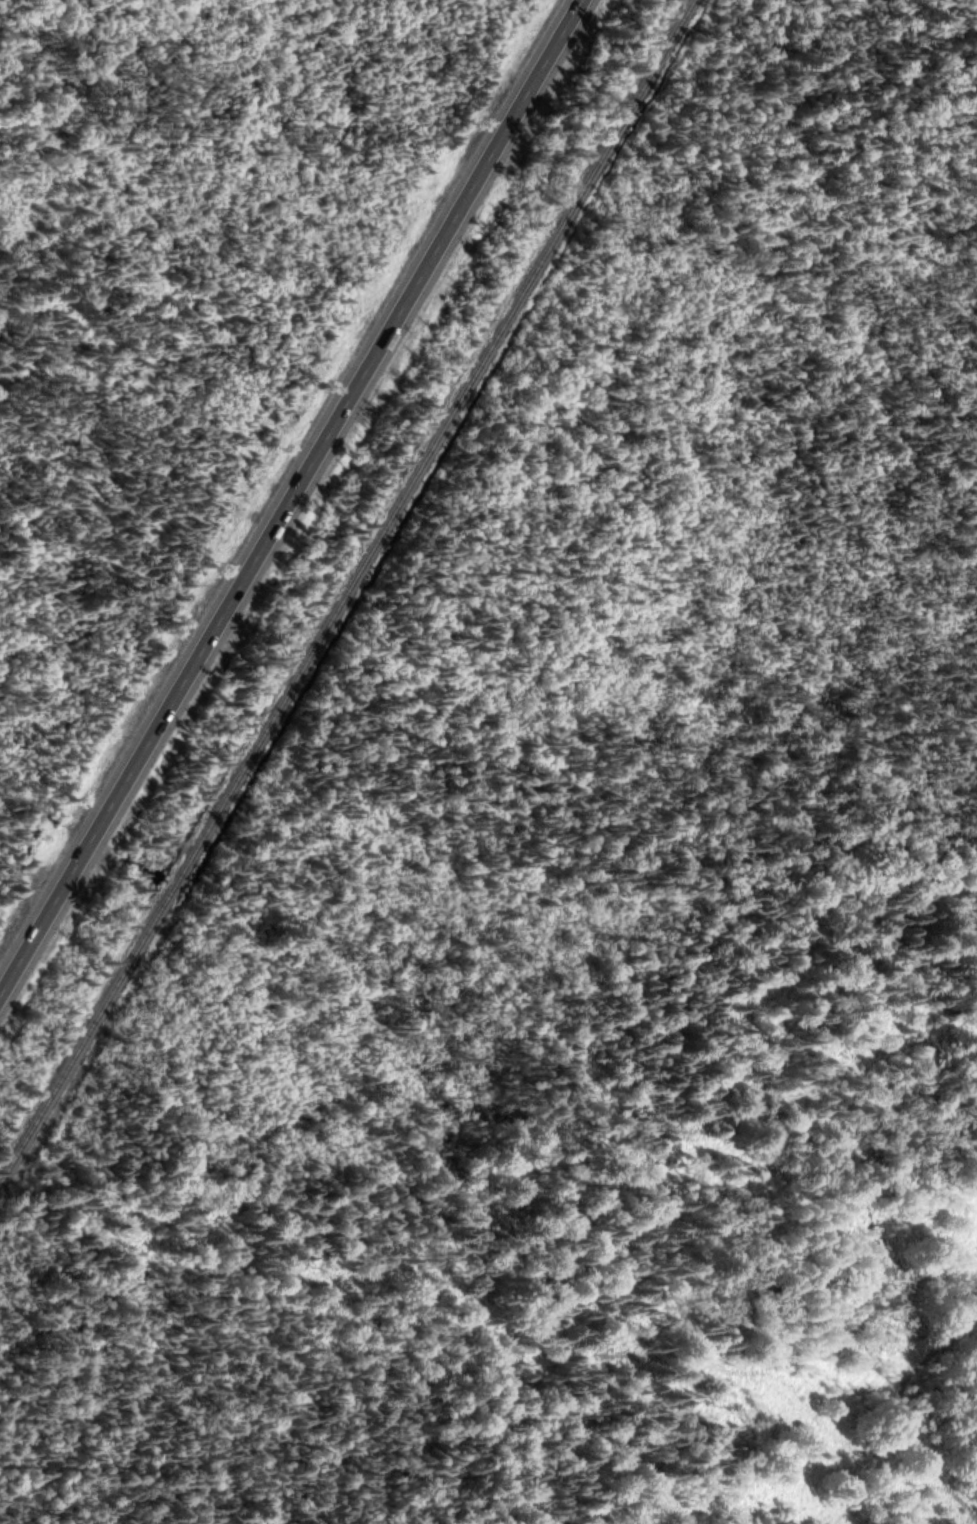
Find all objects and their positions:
road: (290, 496)
railway: (348, 592)

